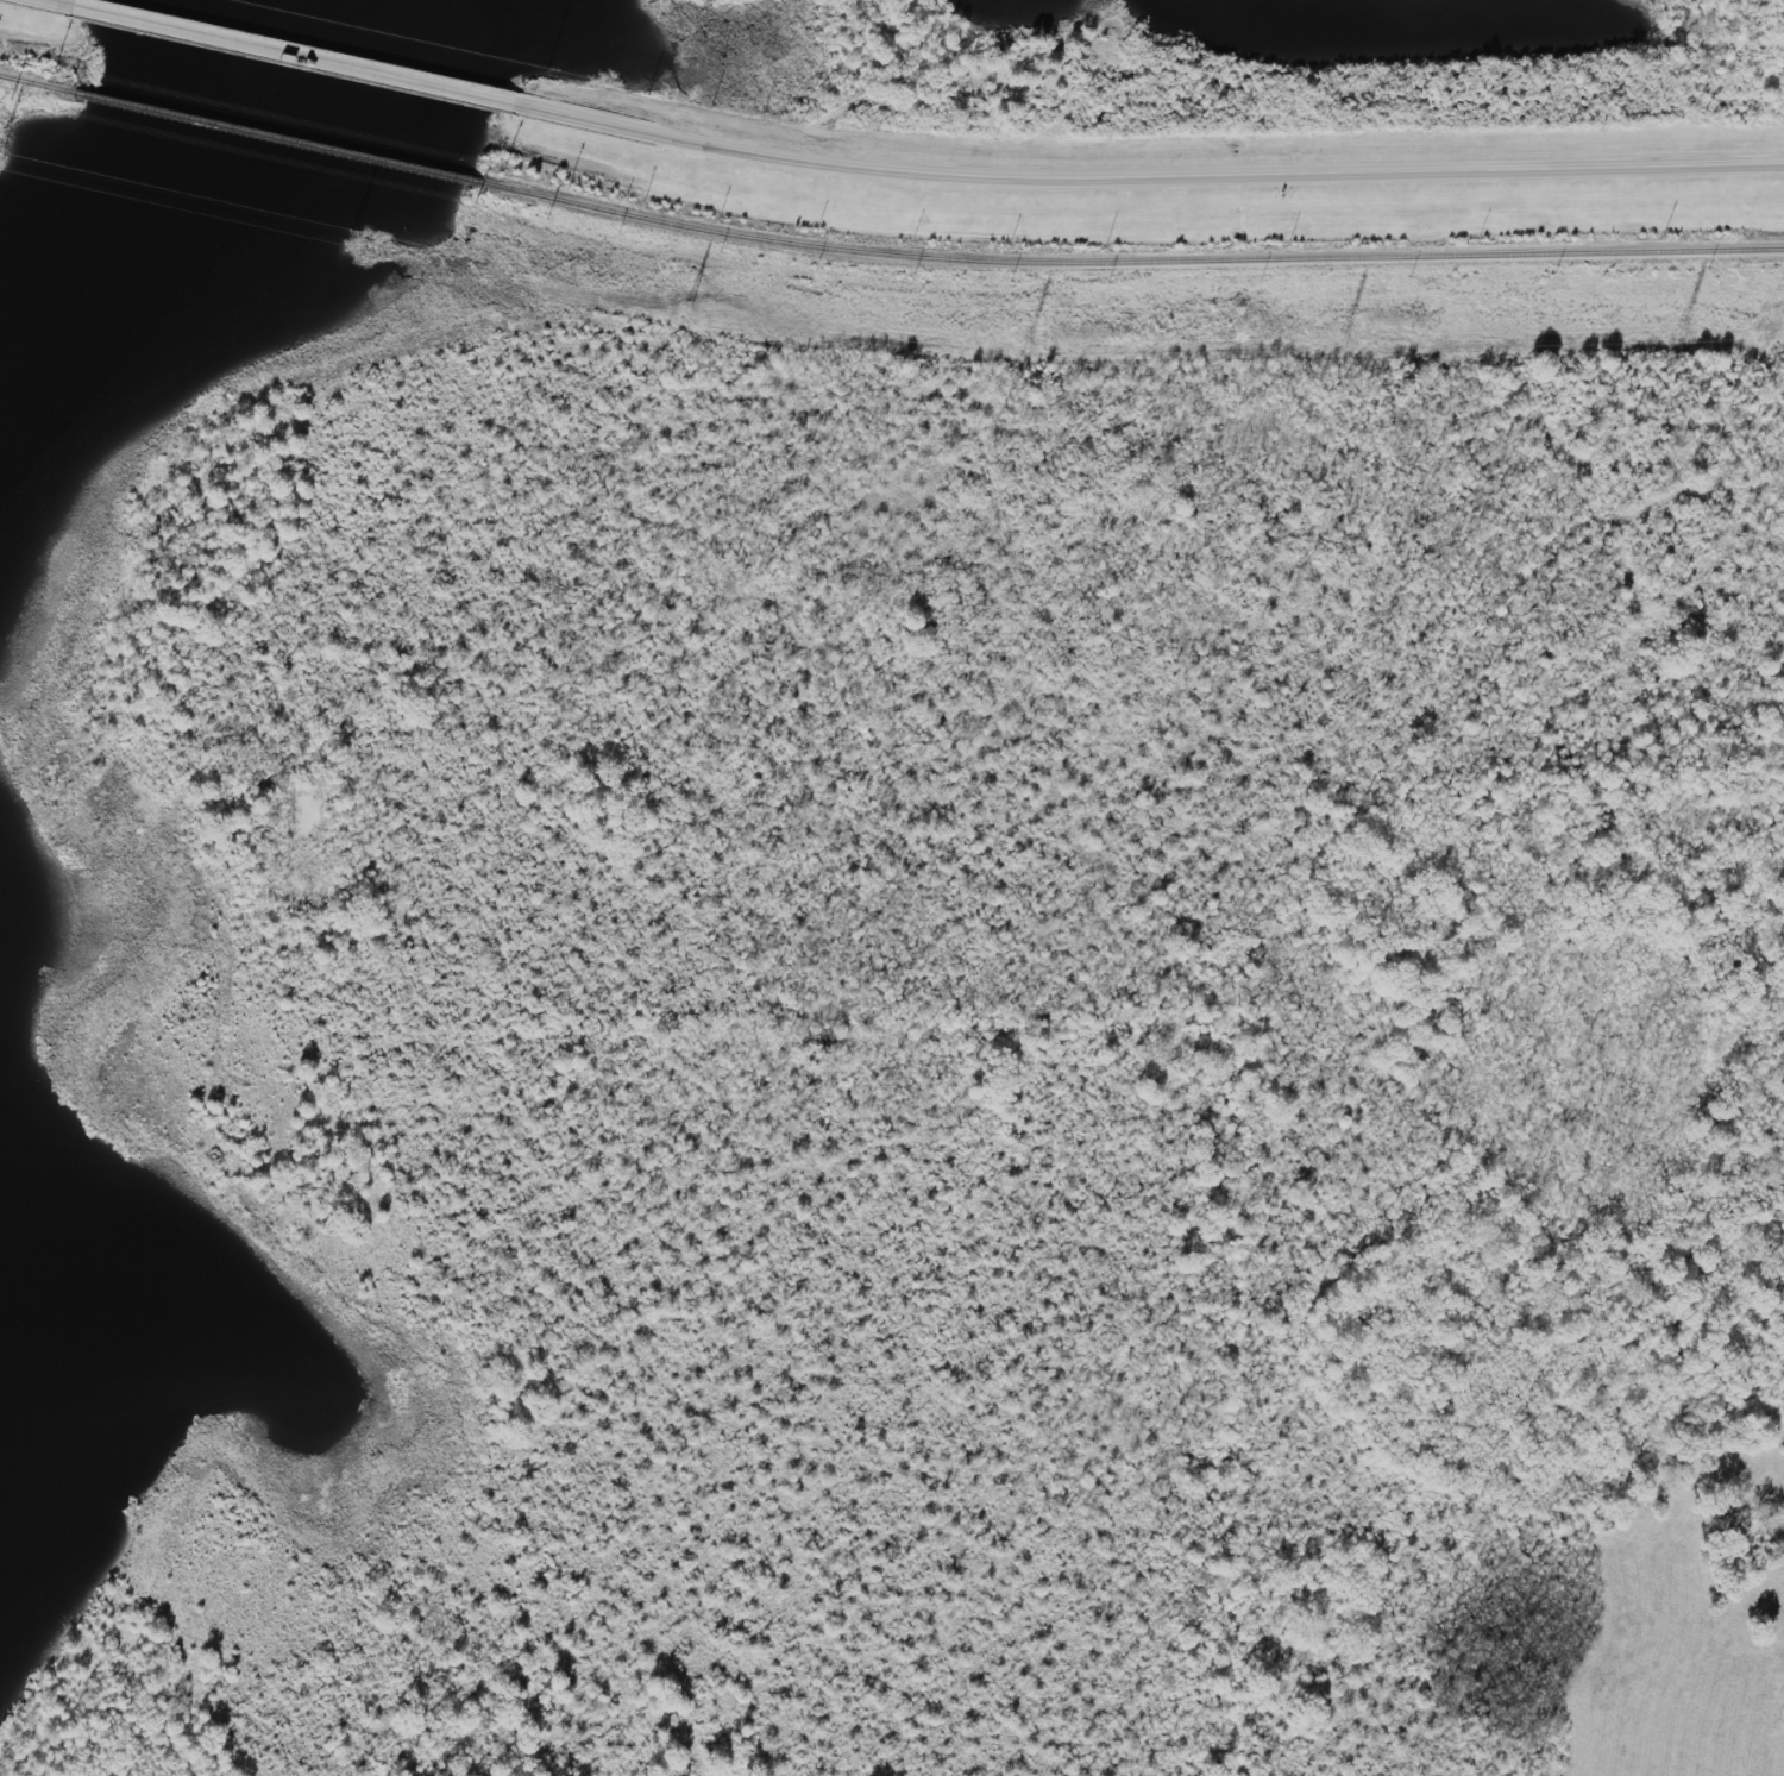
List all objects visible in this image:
road: (306, 56)
railway: (36, 83)
railway: (276, 137)
road: (1763, 162)
road: (1763, 163)
road: (1147, 178)
power tower: (351, 239)
railway: (1129, 261)
power tower: (686, 310)
power tower: (1682, 333)
power tower: (1342, 341)
power tower: (1026, 347)

